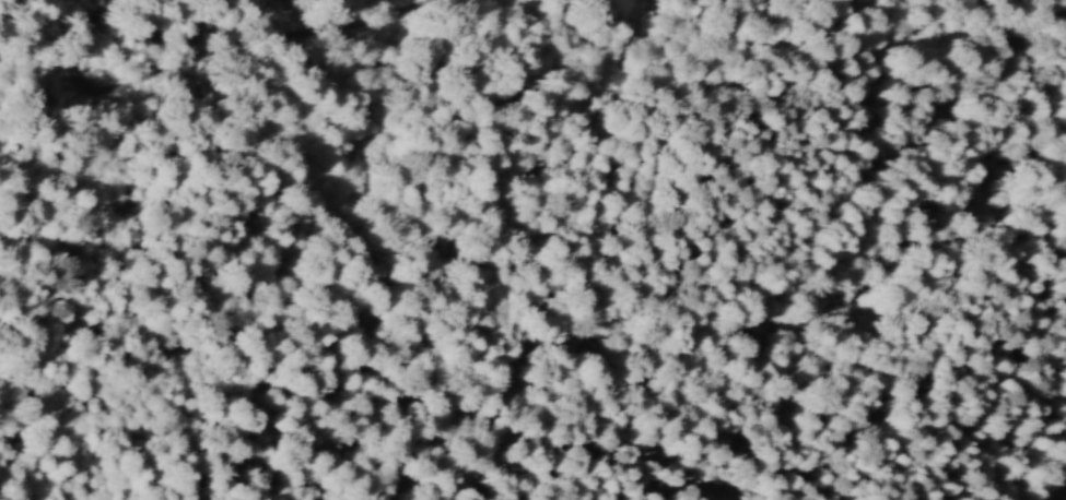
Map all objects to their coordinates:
road: (843, 188)

